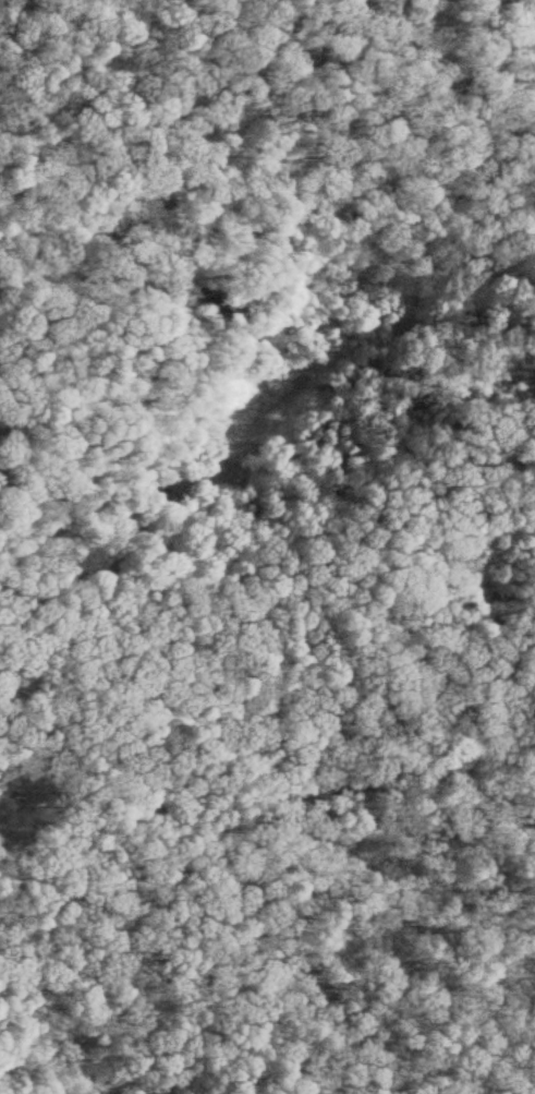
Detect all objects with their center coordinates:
road: (267, 965)

